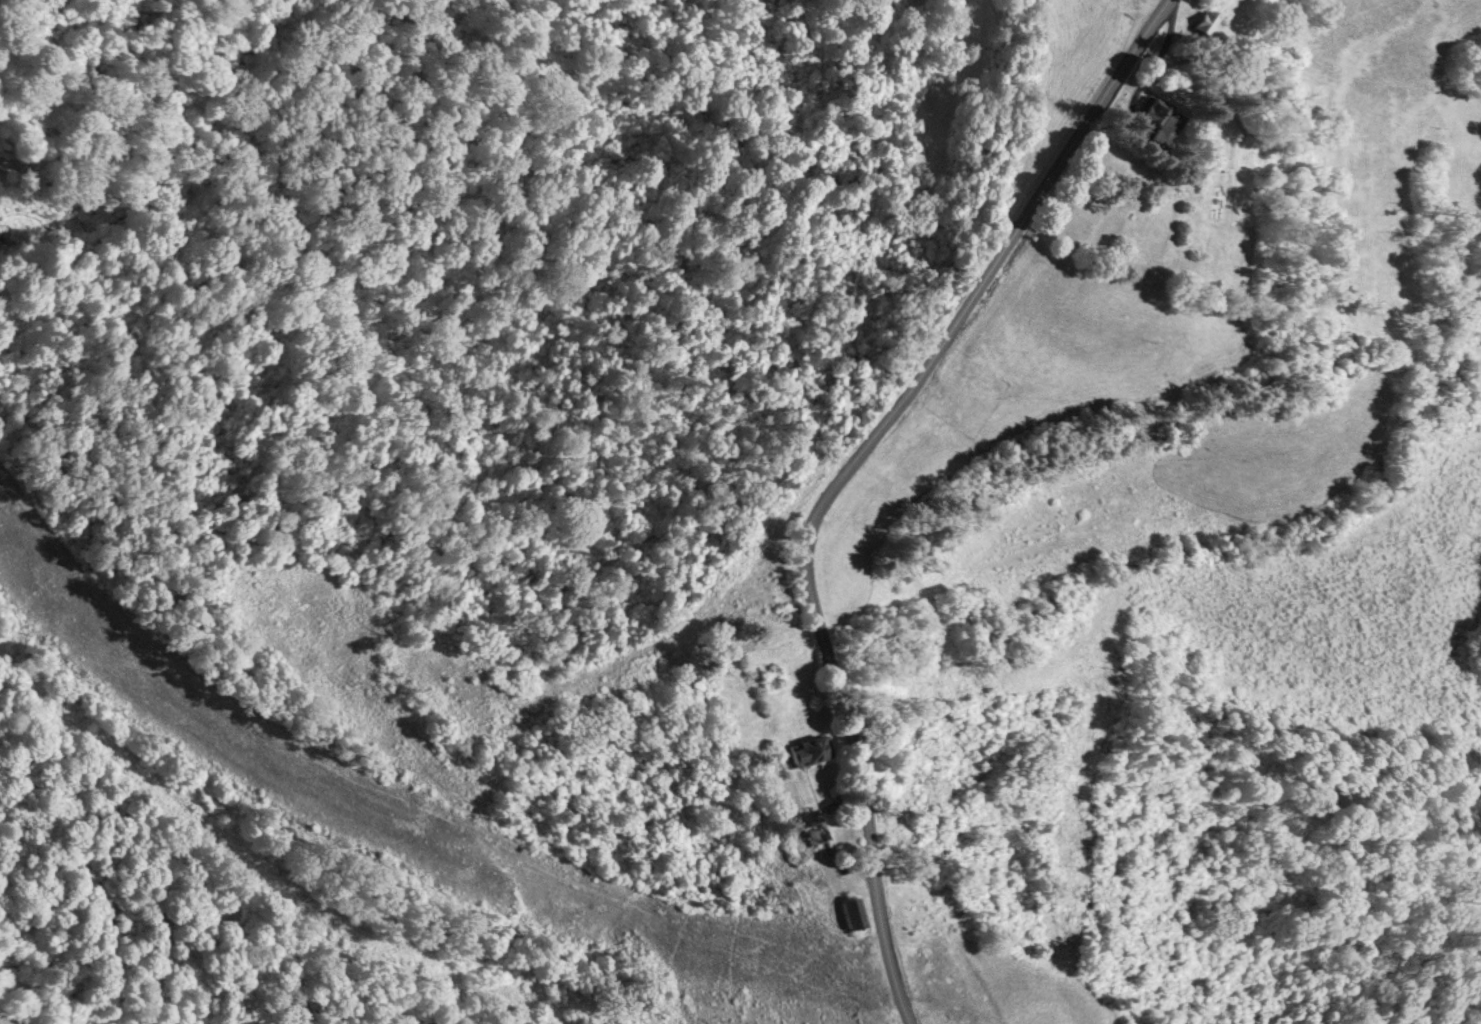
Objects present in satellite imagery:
building: (1202, 23)
building: (1162, 122)
road: (847, 472)
building: (808, 750)
building: (812, 826)
building: (852, 912)

